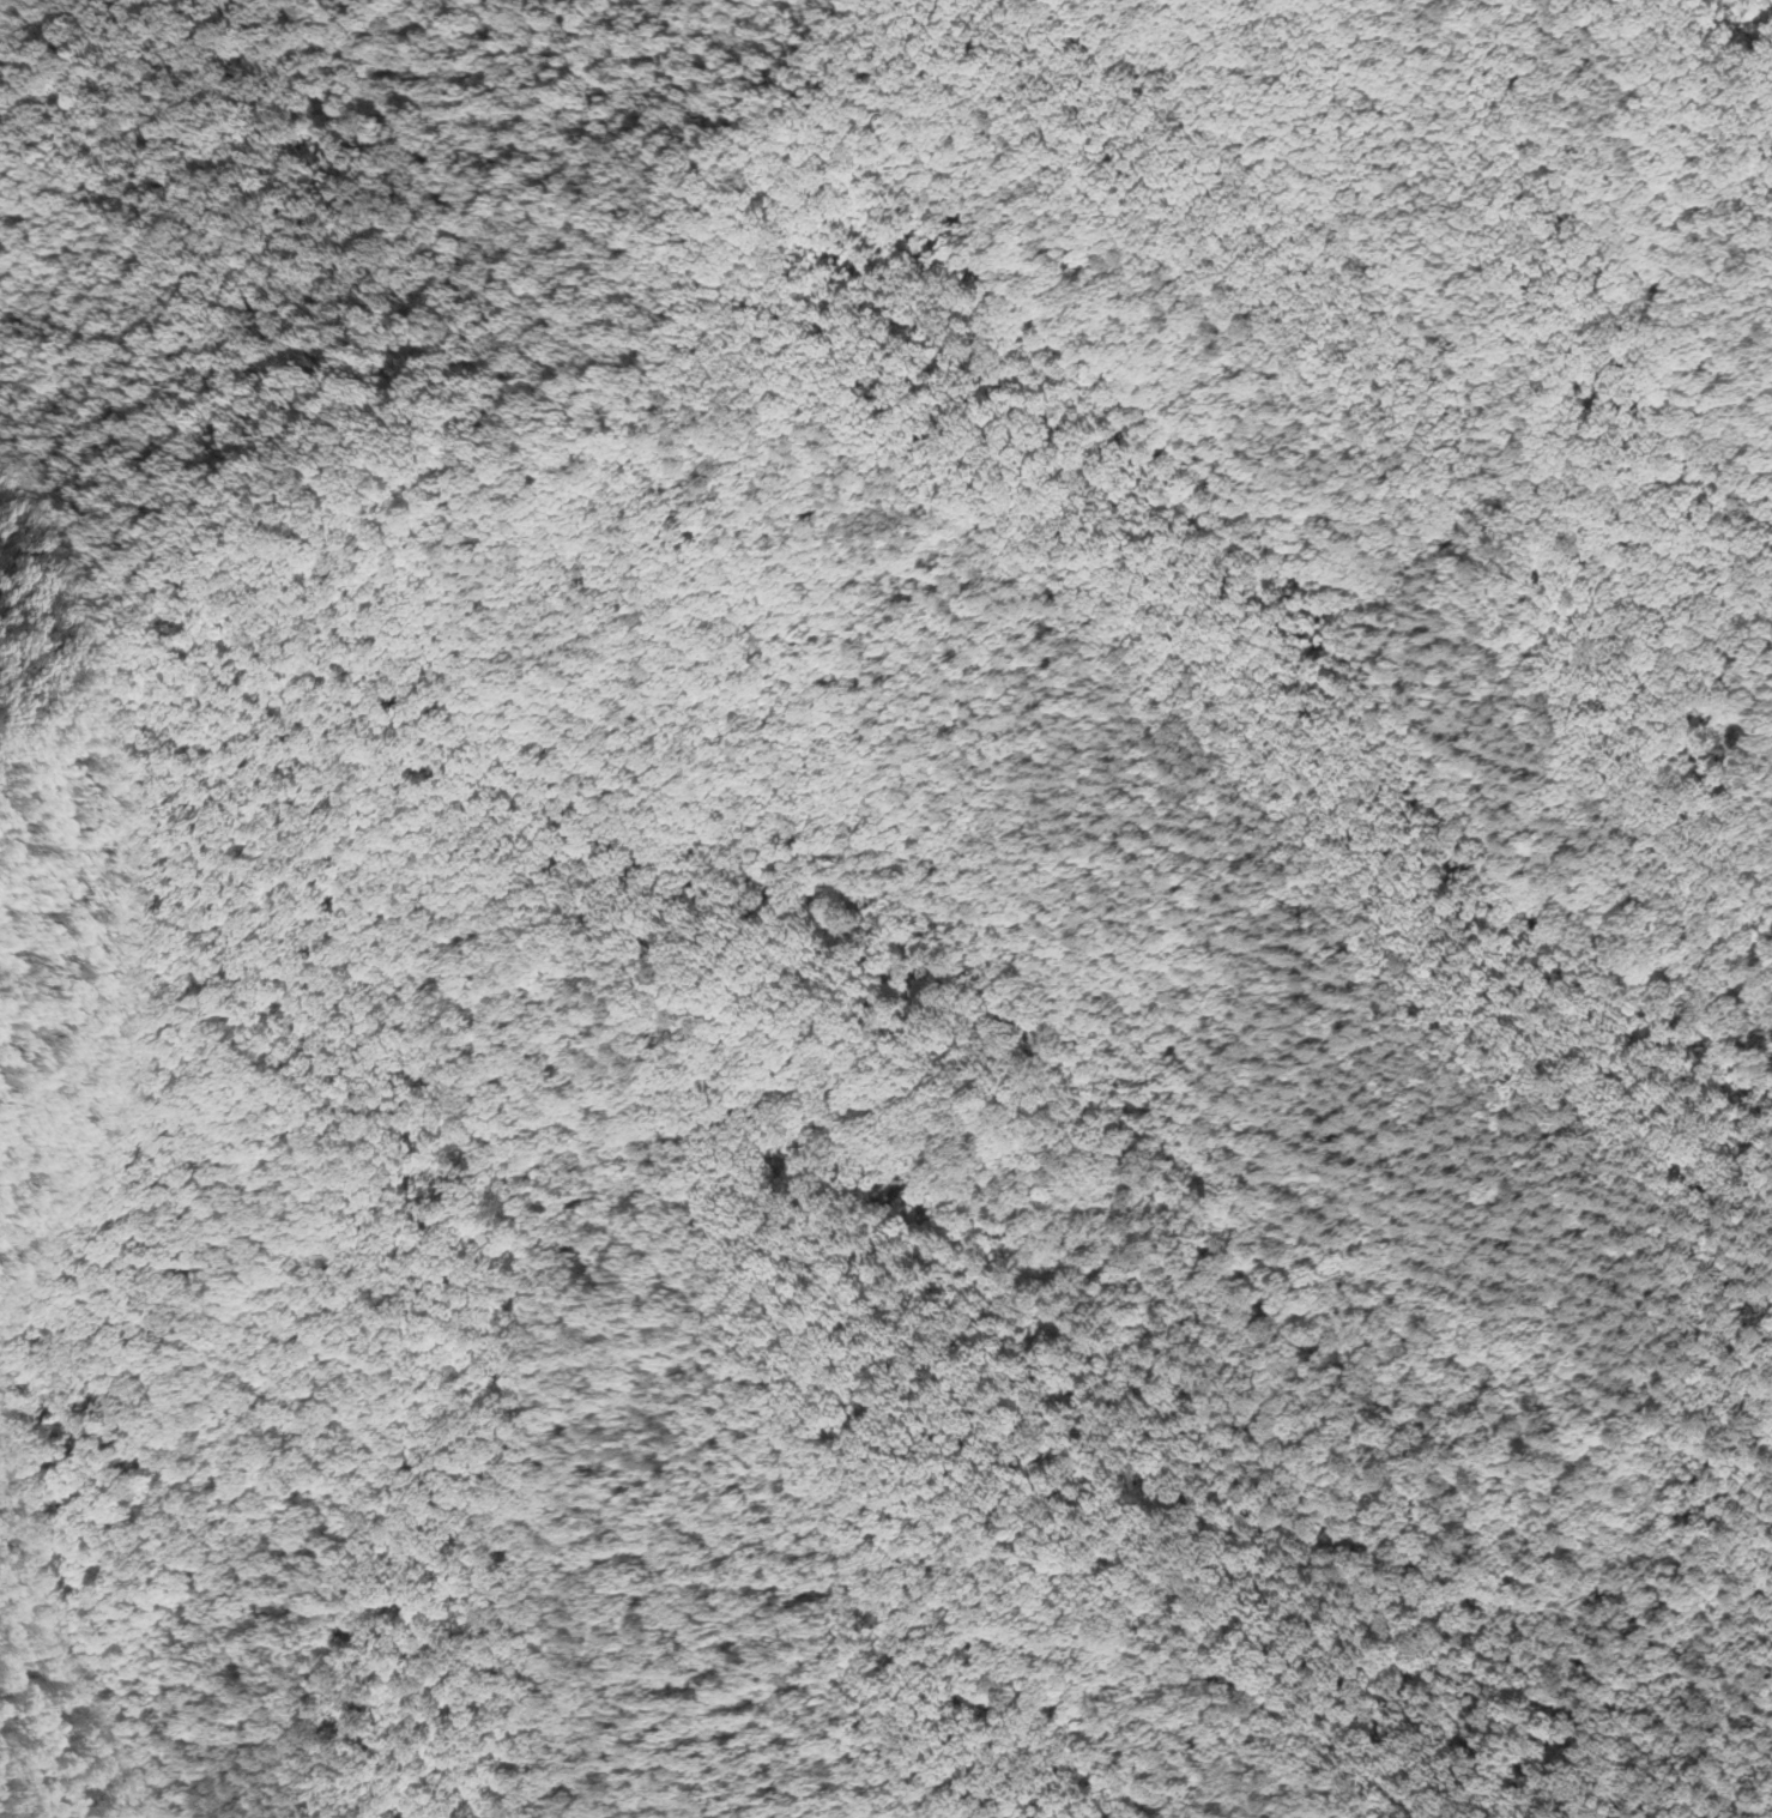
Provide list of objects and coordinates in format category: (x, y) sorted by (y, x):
road: (1287, 2)
road: (1003, 282)
road: (1371, 342)
road: (1077, 1232)

